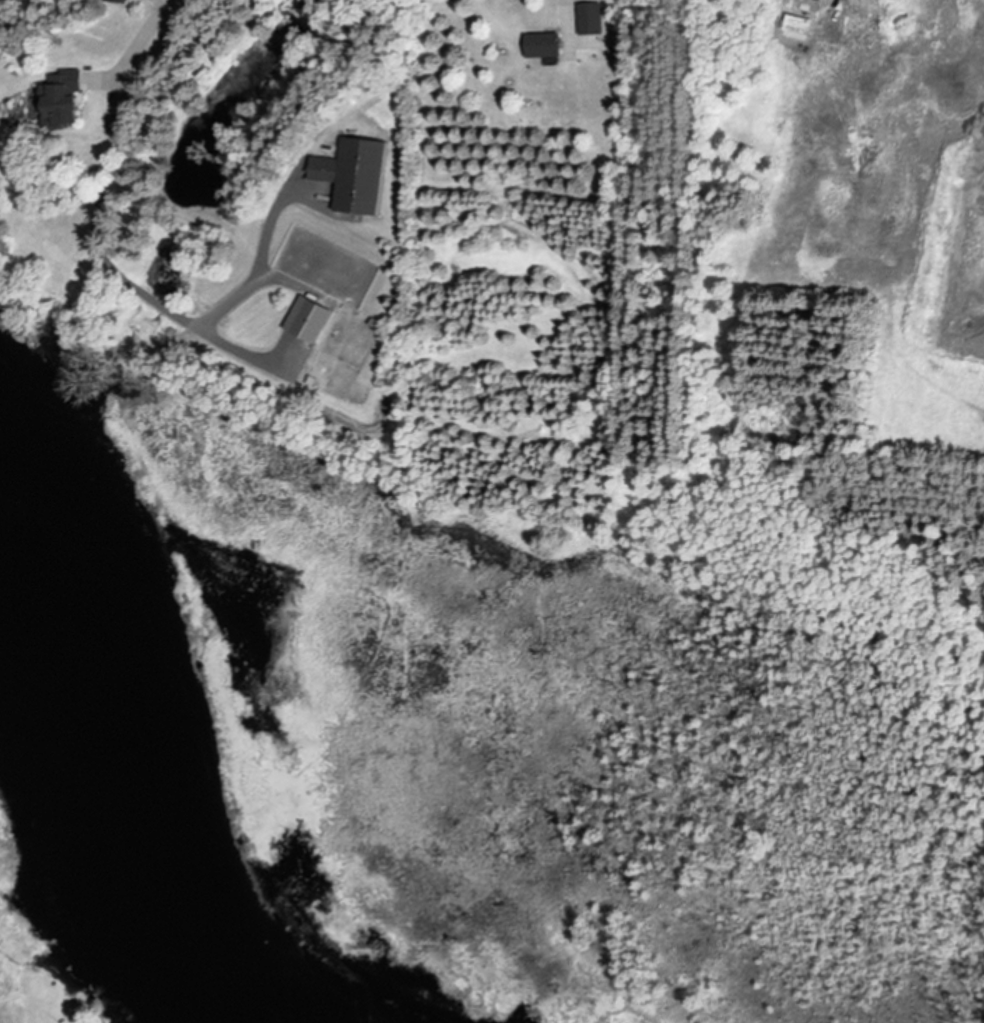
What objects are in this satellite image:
road: (565, 1)
building: (122, 2)
building: (591, 21)
building: (546, 47)
building: (67, 102)
building: (359, 177)
road: (98, 229)
road: (262, 269)
building: (312, 322)
river: (116, 767)

